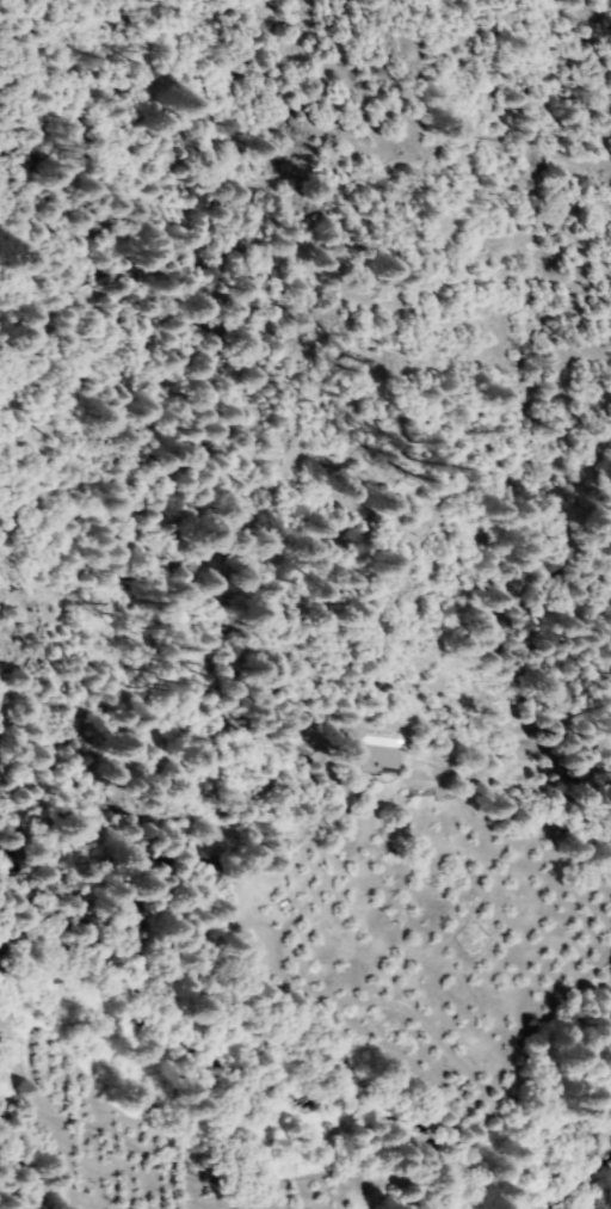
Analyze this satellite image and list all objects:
building: (382, 757)
building: (340, 798)
building: (205, 876)
river: (557, 1164)
road: (162, 1170)
road: (20, 1180)

